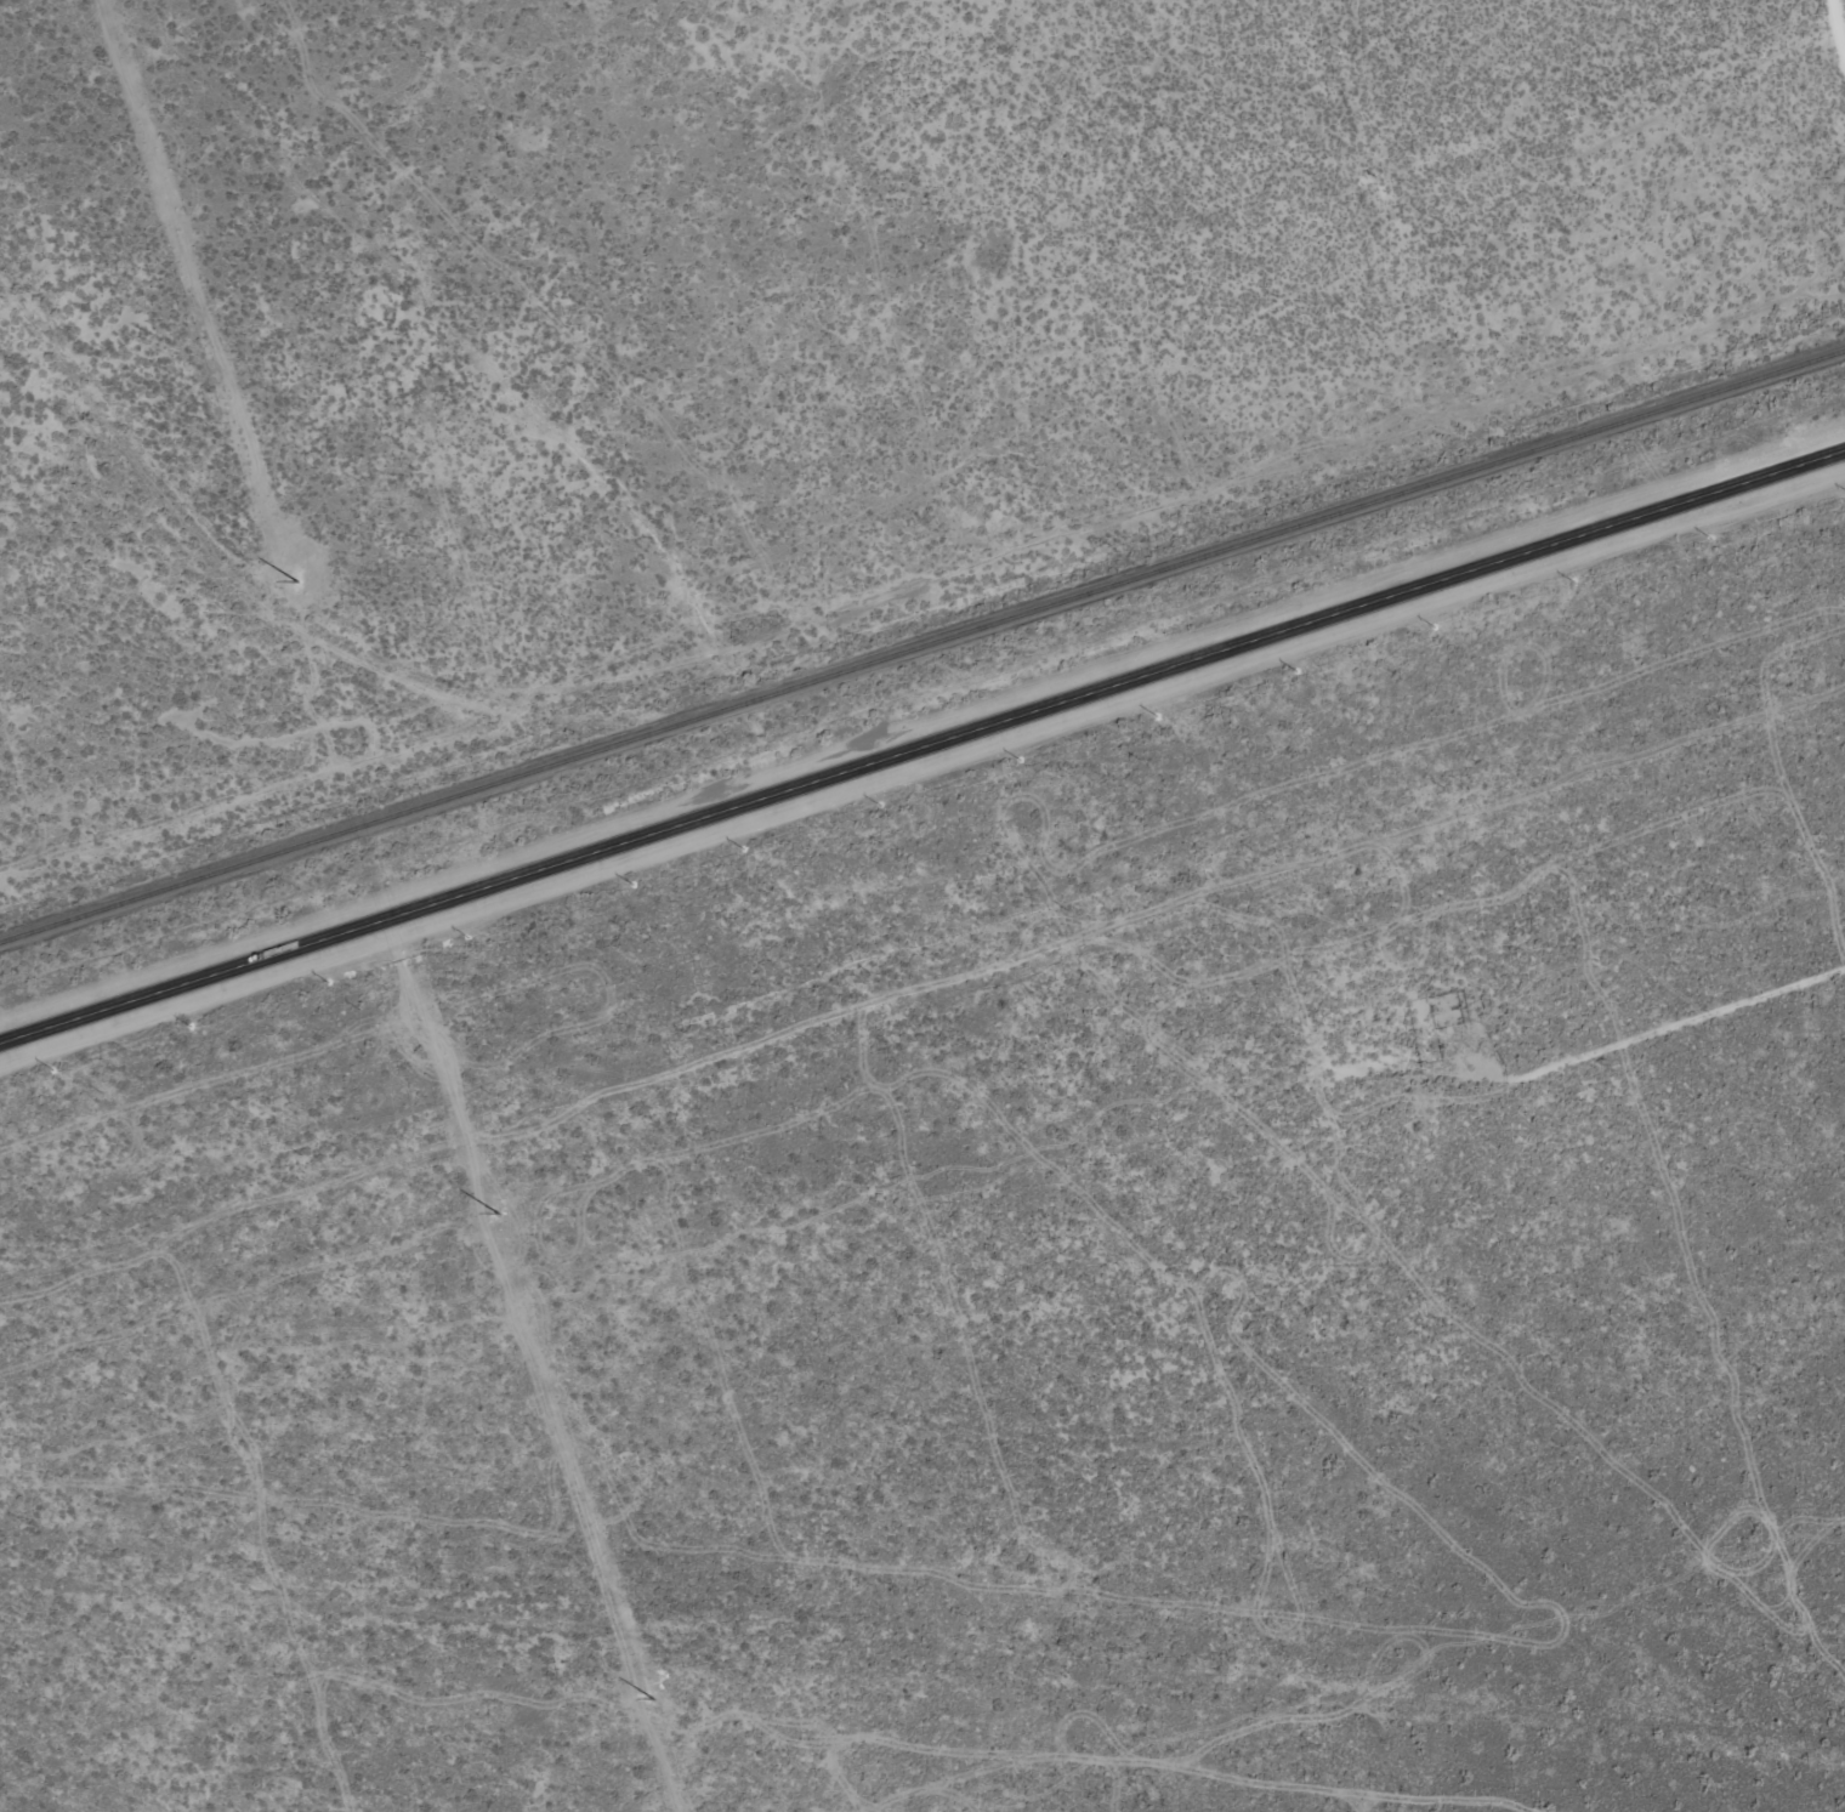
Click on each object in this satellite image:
railway: (921, 646)
road: (923, 749)
road: (1620, 1046)

